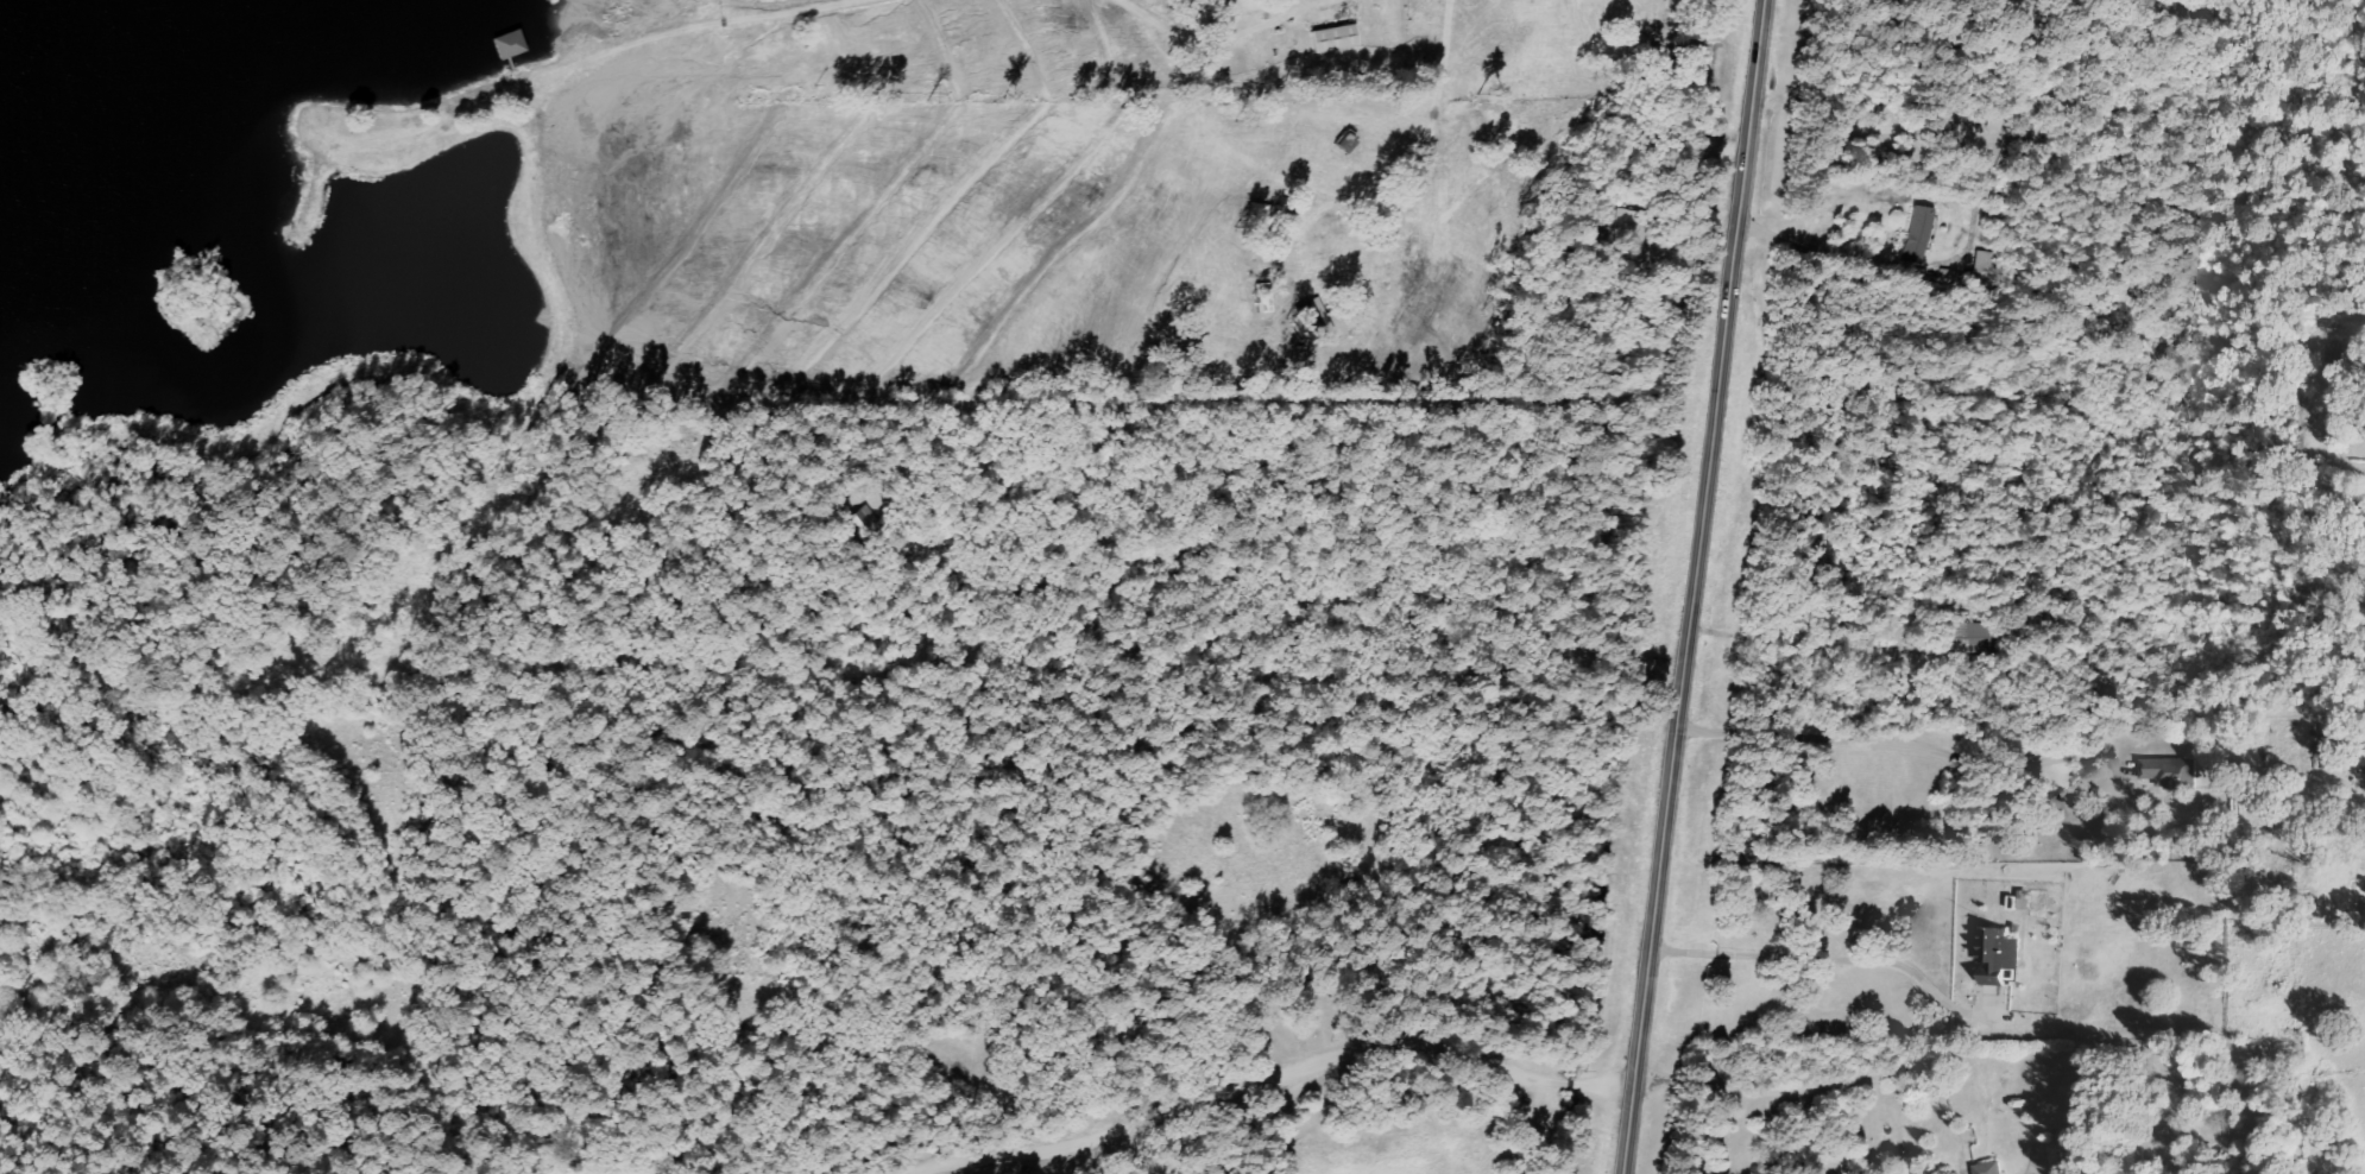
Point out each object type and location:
building: (1335, 38)
building: (1921, 233)
building: (2329, 352)
road: (2050, 492)
road: (1695, 586)
building: (2170, 771)
building: (1998, 954)
road: (1253, 1062)
road: (1820, 1086)
building: (2063, 1154)
building: (1991, 1167)

